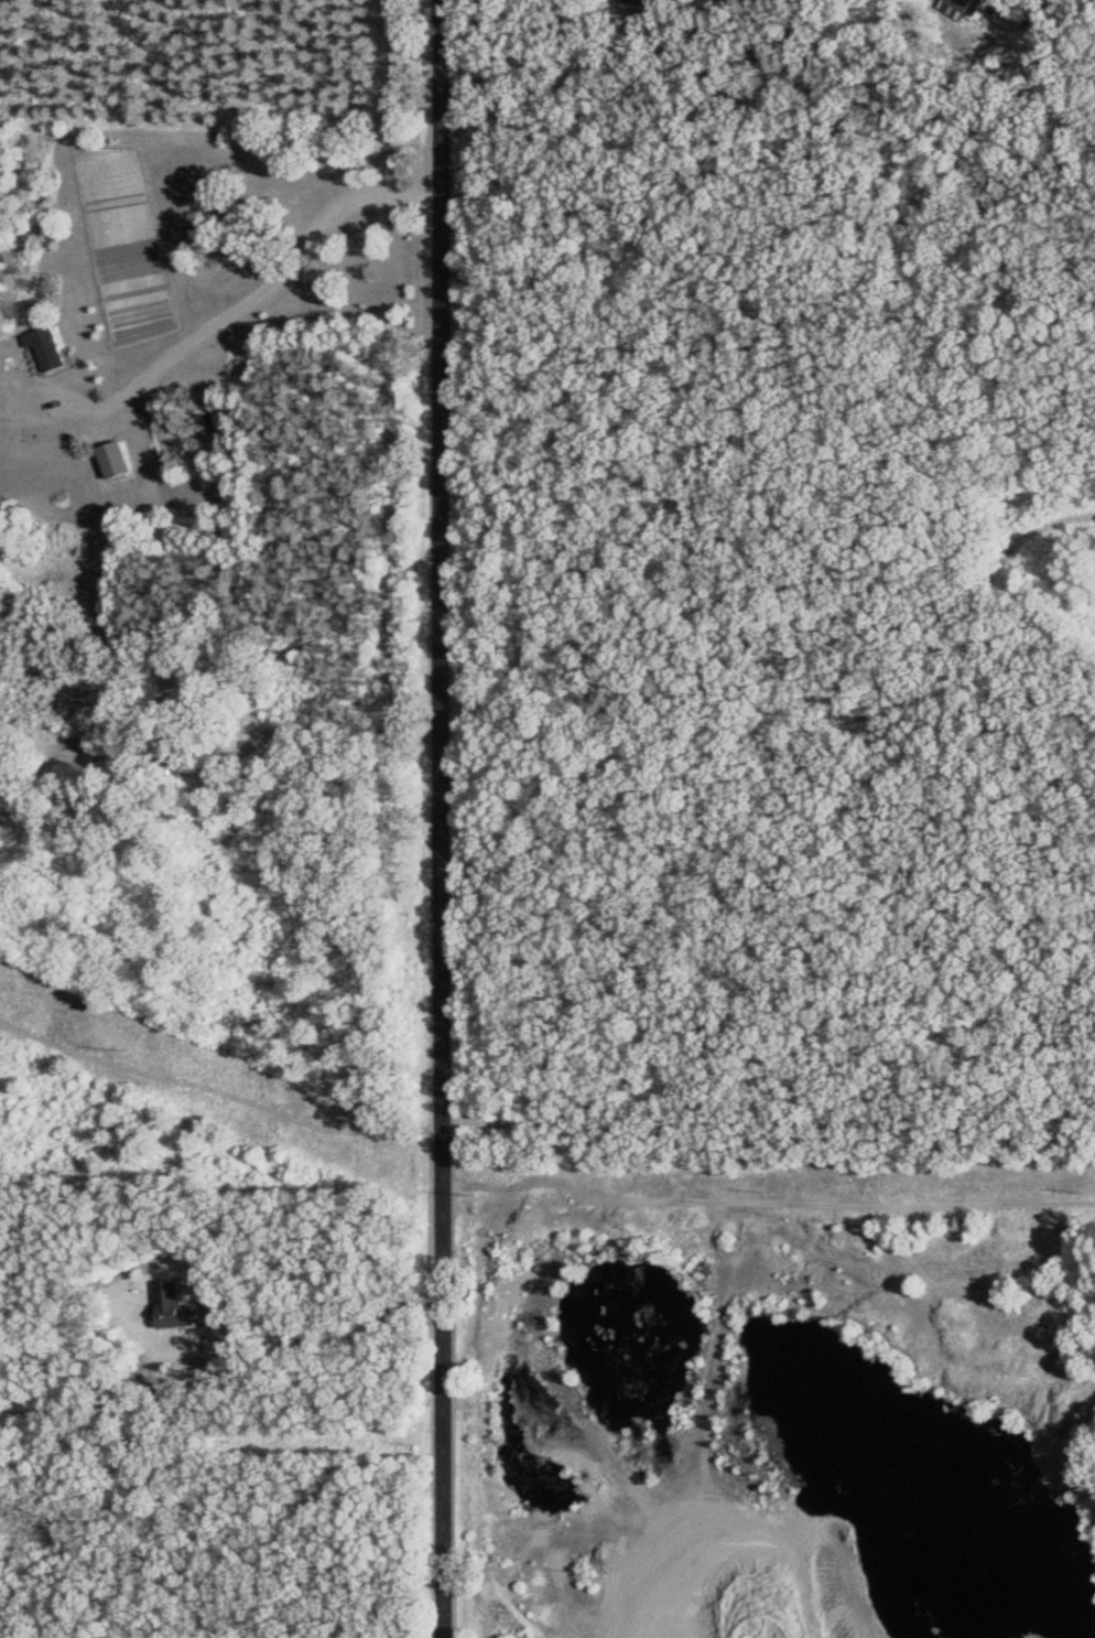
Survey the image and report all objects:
road: (258, 293)
building: (50, 349)
building: (209, 416)
building: (120, 459)
road: (447, 818)
building: (177, 1305)
road: (335, 1334)
quarry: (754, 1429)
quarry: (1001, 1634)

